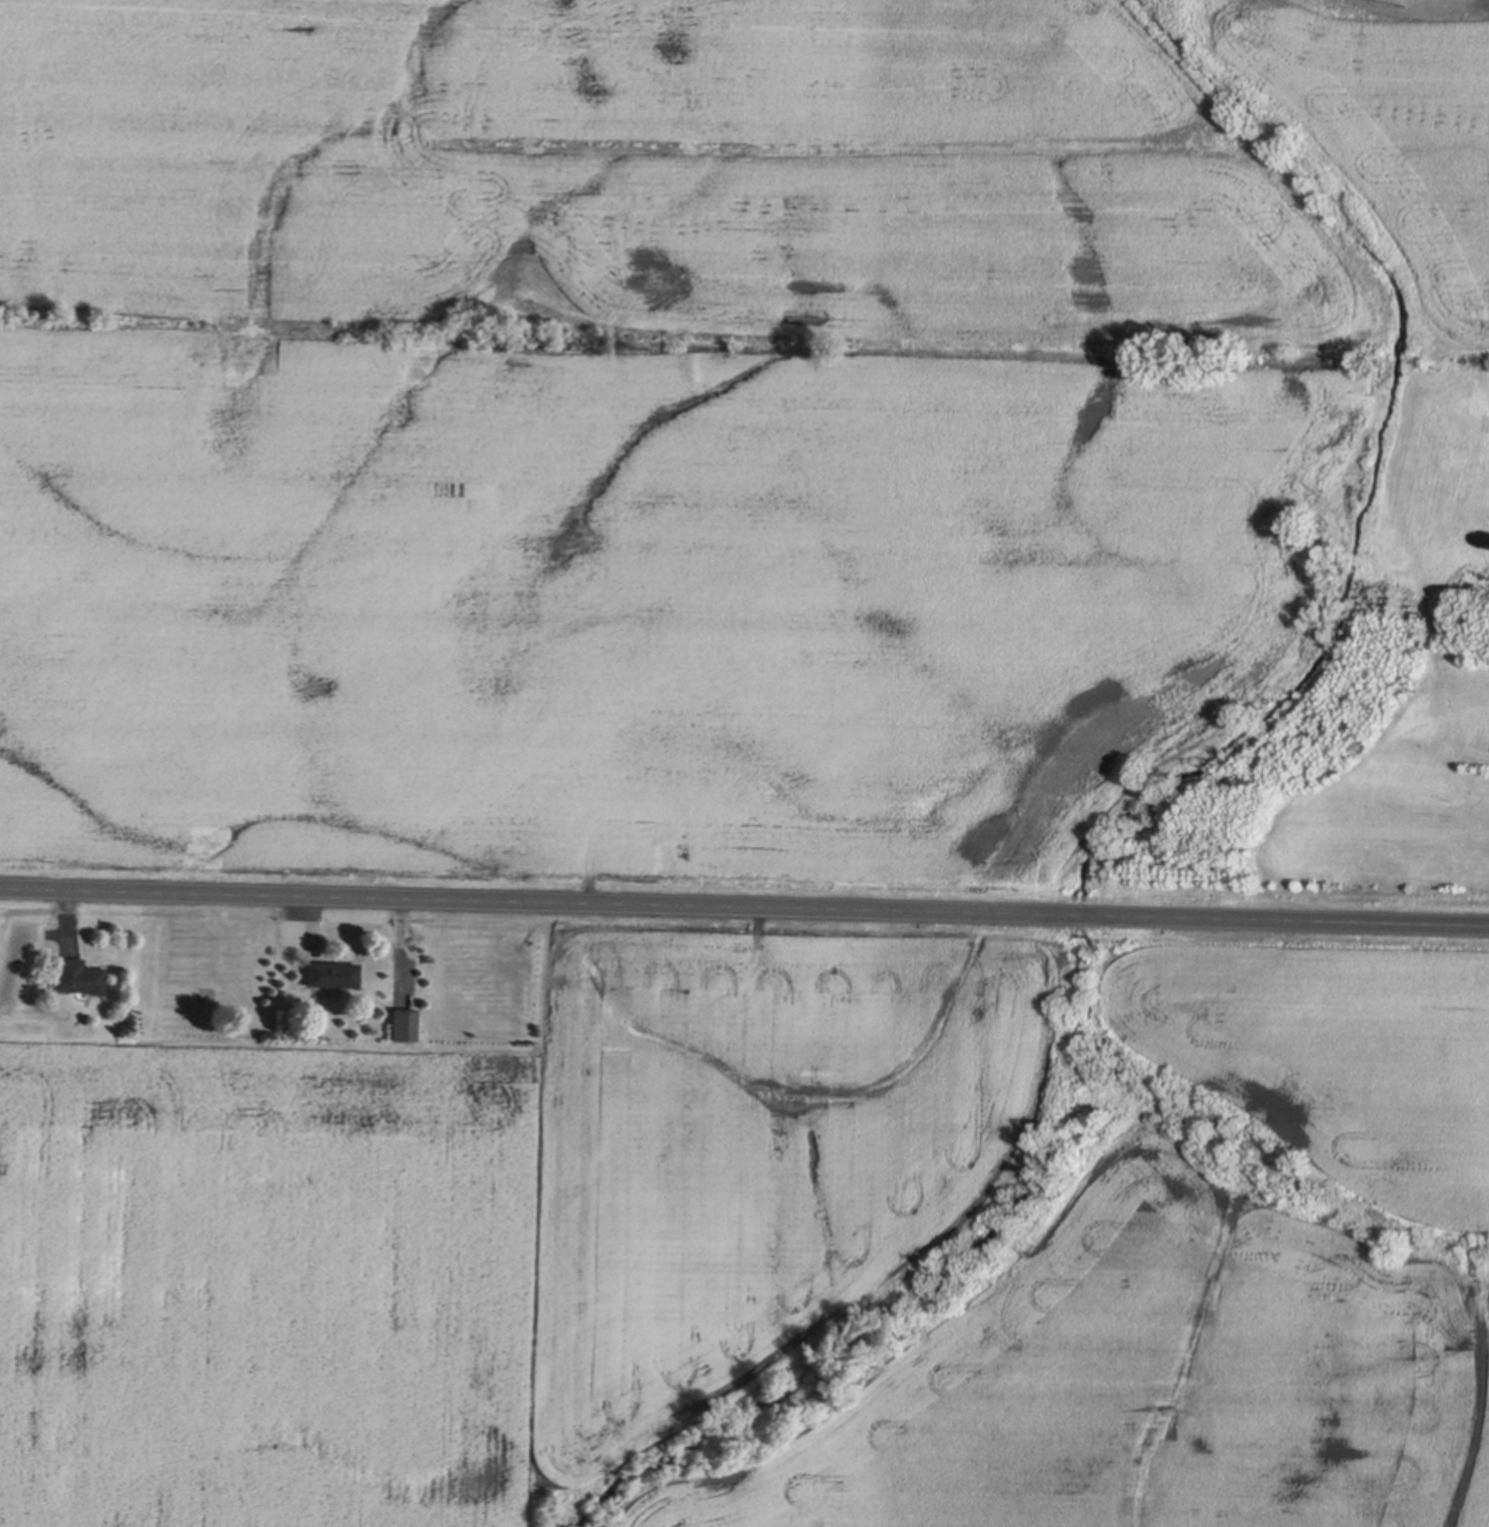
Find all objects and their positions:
park: (1411, 5)
road: (744, 909)
building: (330, 973)
building: (76, 976)
building: (402, 1023)

